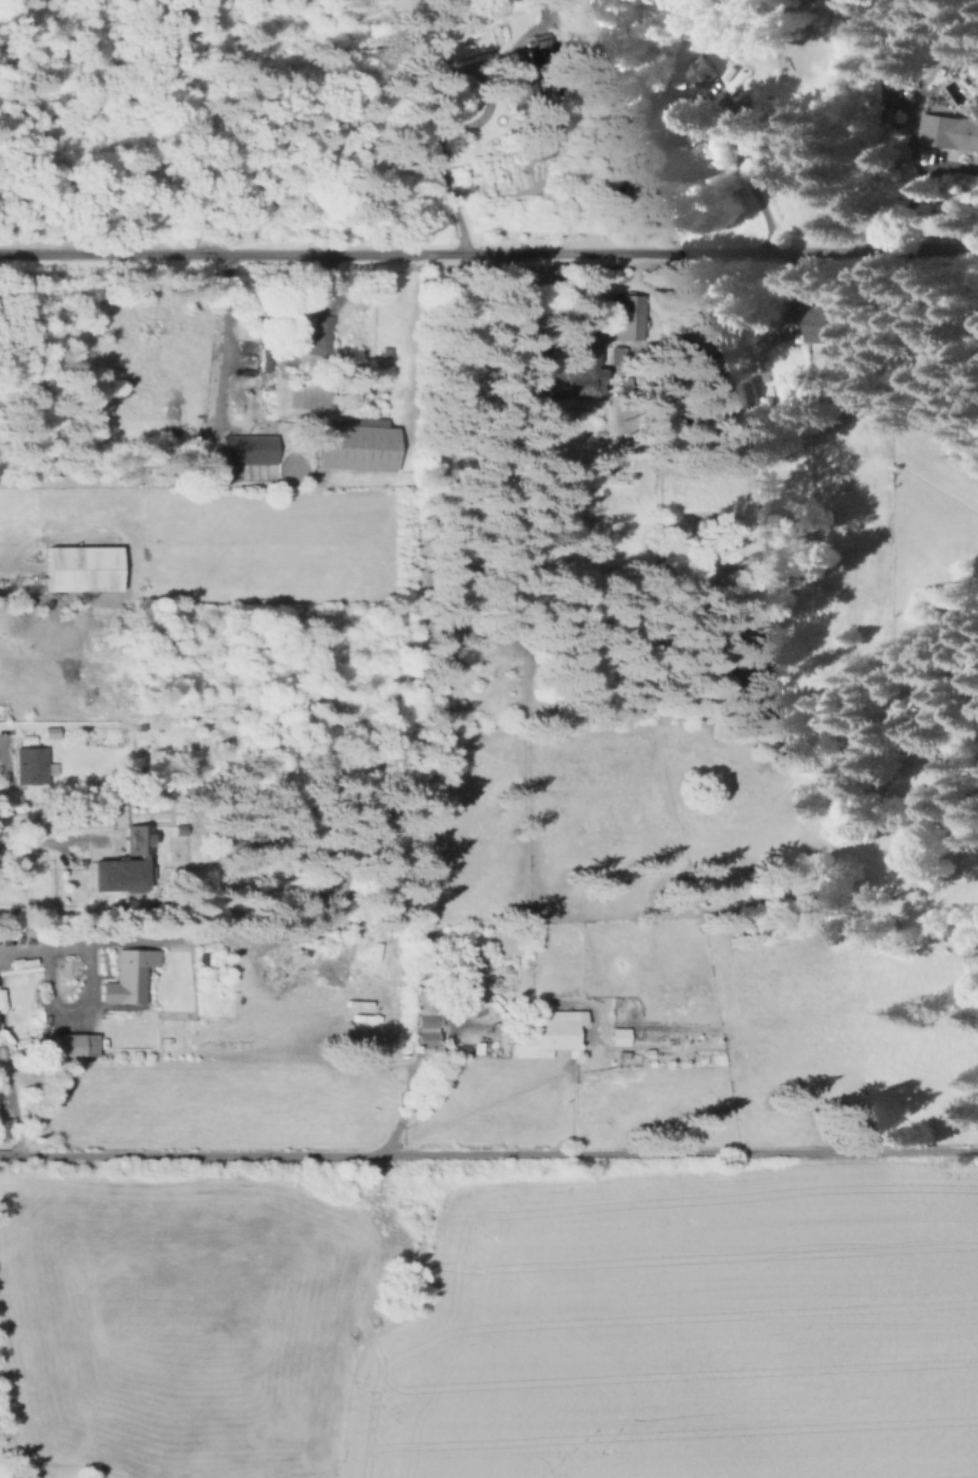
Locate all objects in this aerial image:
building: (707, 69)
building: (516, 85)
building: (911, 92)
building: (685, 116)
building: (951, 130)
road: (441, 154)
building: (977, 159)
road: (756, 185)
road: (489, 251)
building: (625, 315)
building: (828, 323)
building: (309, 335)
road: (223, 336)
building: (266, 357)
building: (576, 373)
building: (741, 392)
building: (355, 447)
building: (249, 448)
building: (86, 567)
road: (11, 568)
building: (52, 731)
building: (31, 765)
building: (139, 839)
road: (58, 840)
building: (118, 874)
building: (532, 919)
road: (93, 948)
building: (471, 977)
building: (130, 981)
road: (73, 1006)
building: (423, 1023)
building: (547, 1037)
building: (621, 1038)
building: (74, 1041)
road: (217, 1060)
road: (416, 1091)
building: (6, 1127)
road: (489, 1157)
crop: (180, 1324)
crop: (686, 1328)

